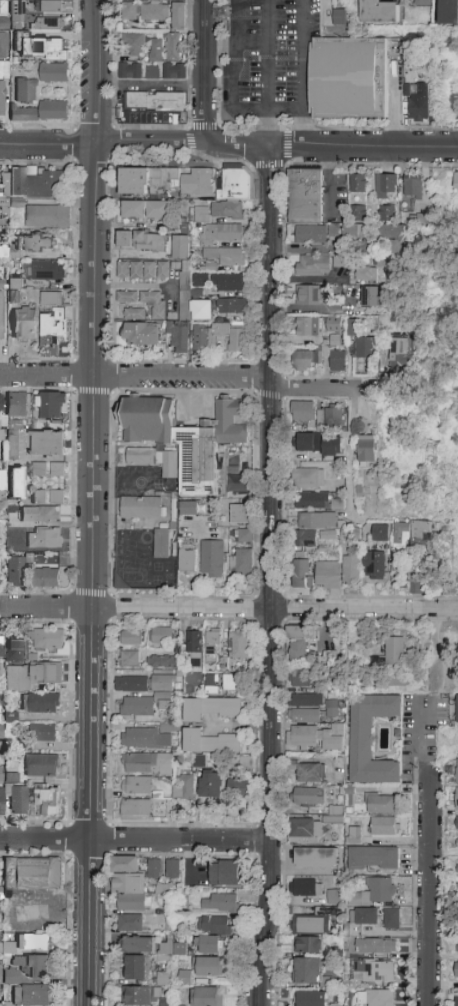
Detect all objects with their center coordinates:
building: (421, 3)
building: (49, 6)
building: (226, 11)
building: (129, 12)
building: (154, 12)
building: (378, 12)
building: (449, 12)
building: (179, 16)
building: (339, 17)
building: (49, 24)
road: (392, 34)
building: (35, 42)
road: (236, 43)
building: (133, 44)
building: (3, 45)
building: (174, 47)
building: (155, 59)
parking lot: (268, 60)
road: (203, 70)
building: (129, 71)
building: (174, 71)
road: (303, 73)
building: (54, 74)
building: (348, 78)
building: (3, 85)
building: (25, 91)
building: (151, 103)
building: (417, 103)
road: (251, 109)
building: (54, 110)
building: (24, 114)
road: (269, 128)
road: (101, 142)
road: (236, 145)
road: (363, 147)
road: (328, 178)
building: (456, 180)
building: (164, 182)
building: (35, 184)
building: (236, 184)
building: (358, 184)
building: (387, 187)
building: (412, 188)
building: (305, 197)
building: (15, 201)
building: (145, 210)
building: (228, 210)
building: (358, 212)
building: (388, 213)
building: (201, 215)
building: (48, 216)
building: (332, 229)
building: (353, 230)
building: (222, 233)
building: (310, 234)
building: (393, 237)
building: (141, 241)
building: (38, 243)
building: (180, 248)
building: (225, 255)
building: (380, 260)
building: (338, 261)
building: (207, 266)
building: (313, 266)
building: (142, 270)
building: (47, 271)
building: (366, 274)
building: (199, 280)
building: (228, 283)
building: (309, 295)
building: (14, 296)
building: (127, 297)
building: (370, 297)
building: (51, 300)
building: (154, 303)
road: (95, 304)
building: (192, 304)
building: (231, 306)
building: (134, 314)
building: (2, 315)
building: (24, 324)
building: (334, 326)
building: (309, 327)
building: (351, 327)
building: (53, 329)
building: (140, 335)
building: (233, 336)
building: (202, 338)
building: (179, 339)
building: (364, 349)
building: (398, 356)
building: (306, 360)
building: (337, 361)
road: (135, 377)
road: (316, 390)
building: (1, 402)
building: (17, 405)
building: (52, 406)
building: (303, 411)
building: (333, 416)
building: (318, 420)
building: (2, 435)
building: (185, 437)
building: (309, 443)
building: (47, 444)
building: (331, 448)
building: (367, 449)
building: (11, 450)
building: (153, 460)
building: (39, 470)
building: (57, 470)
building: (308, 478)
building: (2, 480)
building: (236, 482)
building: (17, 484)
building: (39, 496)
building: (57, 497)
building: (317, 502)
building: (142, 507)
building: (189, 509)
building: (47, 515)
building: (240, 515)
building: (317, 520)
building: (421, 531)
building: (380, 533)
building: (245, 536)
building: (328, 536)
building: (401, 536)
building: (45, 539)
building: (306, 540)
building: (162, 543)
building: (187, 558)
building: (213, 559)
building: (241, 562)
building: (374, 566)
building: (351, 569)
building: (15, 572)
building: (303, 573)
building: (327, 575)
building: (47, 576)
road: (270, 577)
building: (416, 585)
road: (228, 608)
building: (162, 635)
building: (133, 638)
building: (49, 640)
building: (194, 642)
building: (300, 644)
building: (240, 645)
building: (1, 646)
building: (214, 646)
building: (14, 651)
building: (395, 652)
building: (130, 659)
road: (442, 659)
building: (162, 662)
building: (0, 672)
building: (31, 676)
building: (300, 679)
building: (162, 683)
building: (232, 683)
building: (131, 684)
building: (306, 701)
building: (41, 703)
building: (164, 703)
building: (137, 707)
building: (229, 708)
building: (335, 709)
building: (457, 709)
building: (195, 710)
building: (305, 717)
building: (167, 728)
building: (1, 732)
building: (45, 733)
building: (146, 738)
building: (315, 738)
building: (370, 740)
building: (209, 742)
building: (200, 762)
building: (246, 763)
building: (147, 764)
building: (42, 766)
building: (308, 772)
building: (457, 772)
building: (0, 774)
building: (212, 785)
building: (136, 786)
building: (184, 788)
building: (241, 789)
building: (311, 796)
building: (19, 800)
building: (457, 800)
building: (2, 801)
building: (47, 803)
building: (380, 803)
road: (88, 806)
building: (135, 808)
building: (335, 816)
building: (457, 824)
building: (383, 827)
building: (305, 831)
building: (354, 835)
road: (134, 840)
building: (457, 841)
road: (427, 854)
building: (315, 858)
building: (373, 858)
building: (154, 869)
building: (172, 869)
building: (457, 869)
building: (33, 874)
building: (225, 874)
building: (128, 885)
building: (306, 888)
building: (374, 893)
building: (334, 897)
building: (457, 901)
building: (219, 903)
building: (365, 917)
building: (391, 919)
building: (131, 923)
building: (214, 925)
building: (309, 926)
building: (33, 943)
building: (138, 945)
building: (208, 945)
building: (308, 946)
building: (7, 947)
building: (375, 947)
building: (457, 948)
building: (34, 966)
building: (207, 967)
building: (136, 968)
building: (307, 971)
building: (456, 971)
building: (373, 972)
building: (10, 975)
building: (183, 977)
building: (32, 996)
building: (140, 996)
building: (207, 997)
building: (375, 998)
building: (311, 999)
building: (457, 999)
building: (335, 1004)

